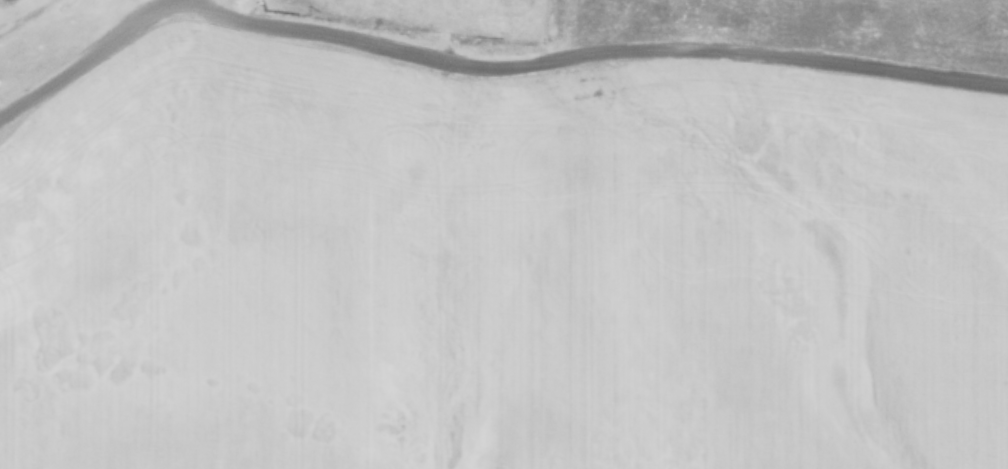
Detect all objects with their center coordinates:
road: (600, 39)
road: (74, 52)

